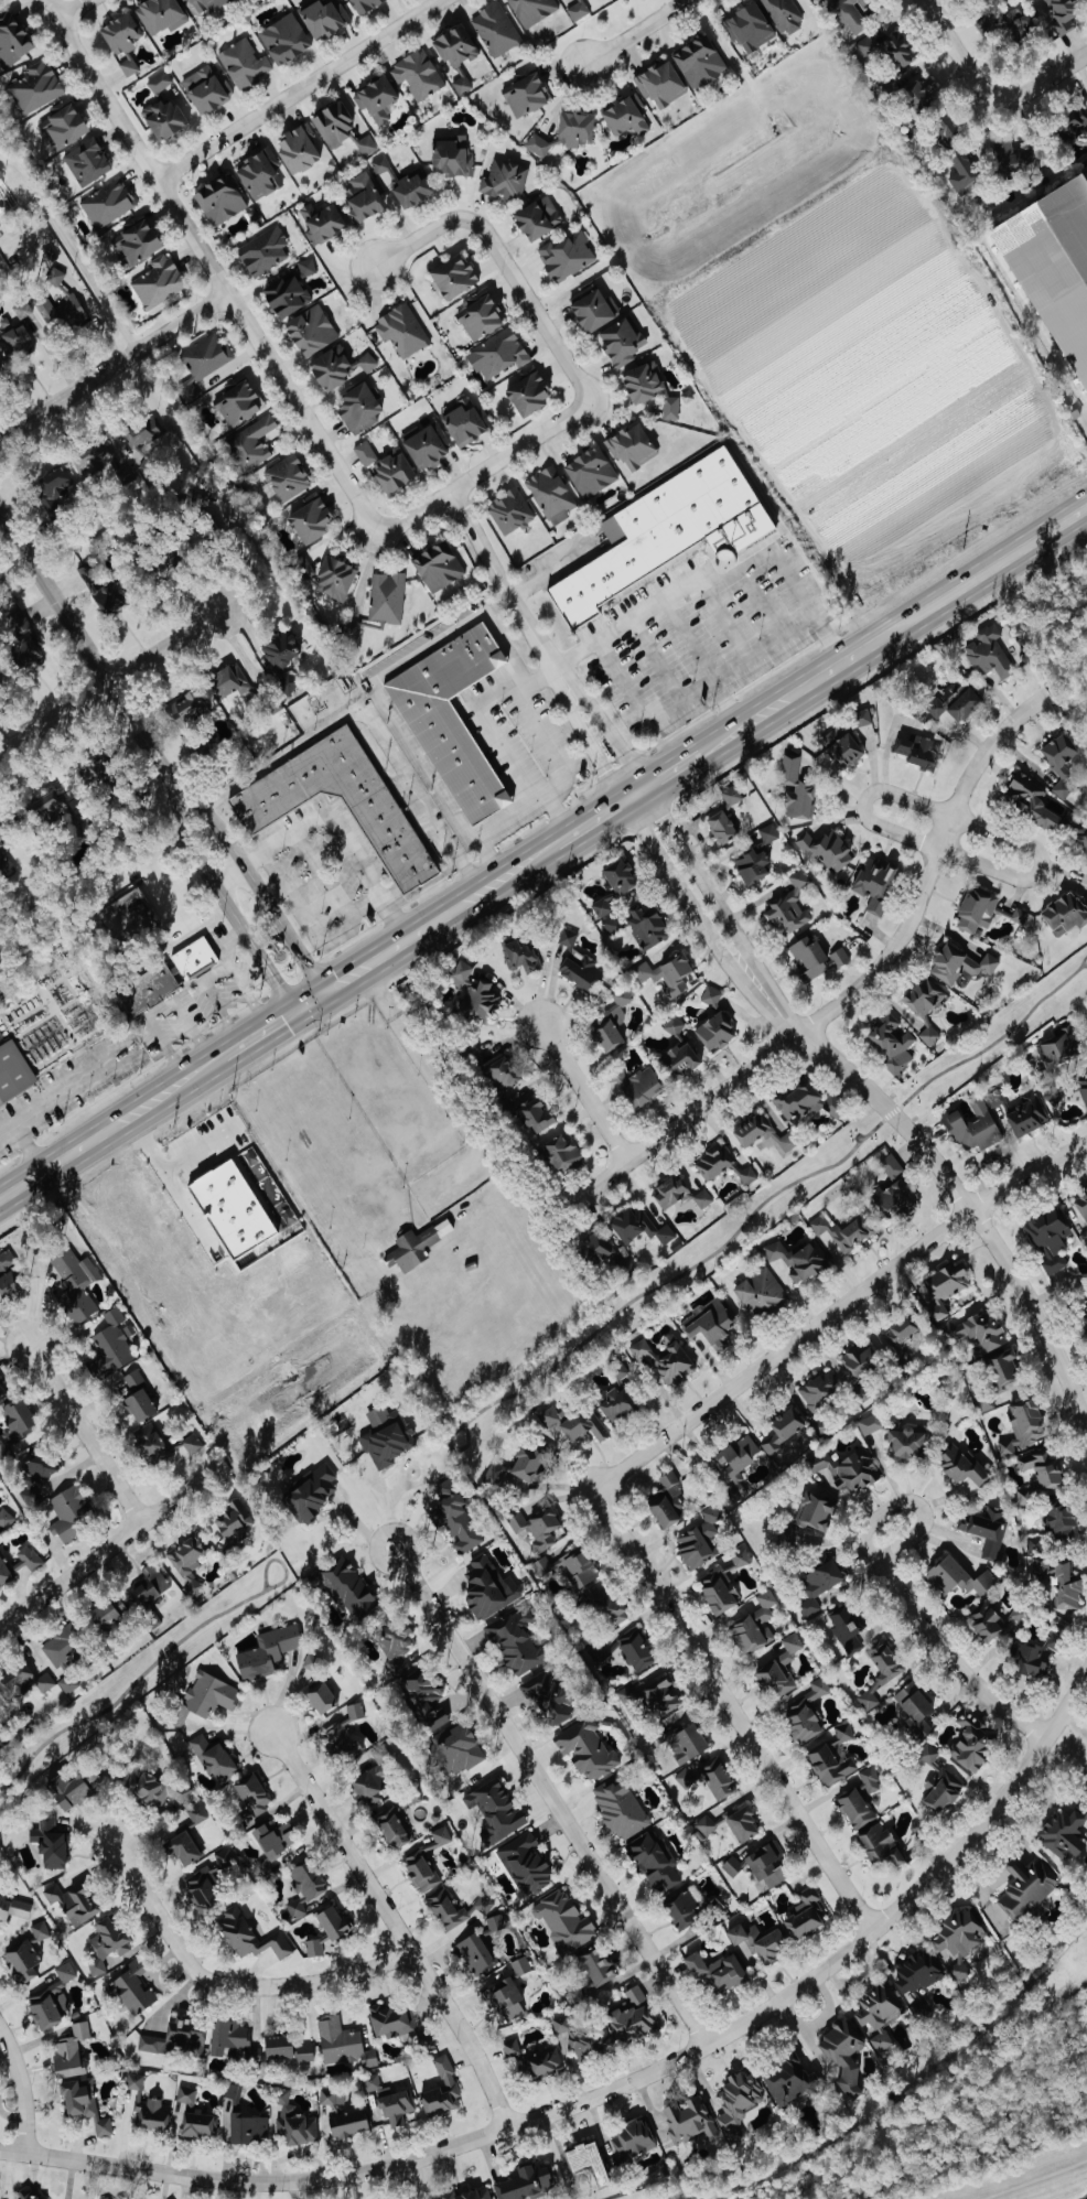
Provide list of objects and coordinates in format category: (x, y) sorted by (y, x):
building: (185, 0)
building: (568, 1)
building: (1, 3)
building: (208, 4)
building: (364, 4)
road: (54, 7)
road: (75, 7)
building: (532, 10)
building: (579, 10)
building: (159, 14)
building: (785, 14)
building: (849, 14)
building: (1062, 14)
building: (323, 17)
building: (983, 25)
building: (747, 26)
building: (496, 29)
building: (120, 32)
road: (634, 32)
building: (284, 39)
building: (12, 41)
building: (862, 47)
building: (897, 50)
road: (954, 51)
building: (455, 55)
building: (698, 61)
building: (245, 63)
building: (418, 74)
building: (160, 82)
building: (660, 84)
road: (1042, 85)
building: (36, 86)
building: (205, 88)
road: (297, 89)
building: (916, 89)
building: (526, 94)
building: (376, 98)
building: (625, 115)
building: (163, 118)
building: (1072, 122)
building: (64, 125)
building: (333, 125)
building: (944, 126)
building: (575, 128)
building: (366, 144)
building: (538, 144)
building: (298, 148)
building: (1012, 155)
building: (452, 158)
building: (86, 162)
building: (381, 164)
building: (961, 172)
building: (259, 174)
building: (505, 180)
building: (411, 190)
building: (363, 196)
building: (219, 200)
building: (108, 203)
building: (537, 217)
building: (323, 224)
road: (418, 238)
building: (133, 242)
road: (72, 248)
building: (263, 251)
building: (567, 257)
building: (306, 267)
building: (1053, 269)
road: (214, 272)
building: (453, 277)
building: (158, 282)
building: (286, 297)
road: (531, 305)
building: (62, 306)
building: (22, 309)
building: (593, 310)
building: (481, 314)
crop: (835, 323)
building: (402, 330)
building: (310, 331)
building: (17, 341)
building: (621, 342)
building: (498, 354)
building: (203, 363)
road: (112, 364)
building: (336, 367)
building: (642, 381)
building: (528, 392)
building: (238, 402)
building: (358, 408)
building: (670, 408)
building: (463, 423)
building: (144, 431)
building: (249, 444)
building: (633, 446)
building: (423, 449)
building: (94, 456)
building: (386, 466)
road: (482, 471)
building: (590, 472)
building: (126, 474)
building: (287, 478)
building: (52, 489)
building: (551, 494)
building: (510, 510)
building: (310, 519)
building: (663, 533)
building: (438, 565)
road: (551, 569)
building: (329, 575)
road: (501, 580)
building: (100, 589)
building: (386, 597)
road: (660, 602)
road: (760, 604)
road: (806, 608)
road: (724, 618)
road: (892, 633)
building: (21, 638)
building: (989, 653)
road: (93, 657)
road: (657, 658)
building: (280, 660)
road: (701, 664)
road: (109, 680)
building: (227, 681)
road: (689, 691)
road: (375, 692)
building: (955, 702)
building: (185, 709)
building: (860, 718)
building: (452, 720)
road: (509, 739)
road: (988, 746)
building: (841, 748)
road: (386, 751)
building: (916, 751)
building: (1061, 763)
building: (790, 768)
road: (670, 770)
building: (89, 772)
road: (633, 794)
building: (732, 796)
road: (863, 800)
building: (800, 801)
building: (1030, 801)
building: (47, 809)
road: (507, 815)
building: (378, 816)
road: (591, 820)
road: (665, 820)
building: (721, 827)
road: (945, 832)
road: (644, 833)
road: (213, 834)
building: (1081, 840)
road: (275, 841)
building: (826, 849)
road: (252, 858)
road: (484, 860)
road: (528, 861)
road: (1041, 867)
road: (226, 872)
building: (874, 883)
building: (613, 885)
road: (487, 886)
building: (790, 905)
building: (976, 908)
road: (357, 910)
road: (230, 912)
building: (1063, 912)
building: (128, 916)
building: (1021, 916)
building: (611, 923)
building: (645, 925)
road: (282, 928)
building: (568, 937)
road: (399, 941)
road: (225, 944)
building: (520, 953)
building: (809, 957)
building: (839, 957)
building: (193, 958)
building: (958, 963)
building: (579, 969)
building: (667, 972)
building: (146, 989)
building: (473, 991)
traffic signals: (323, 992)
road: (248, 995)
building: (711, 995)
building: (923, 995)
road: (213, 999)
traffic signals: (294, 1011)
building: (611, 1021)
building: (672, 1025)
road: (269, 1026)
building: (714, 1030)
building: (929, 1034)
building: (890, 1041)
building: (1057, 1044)
road: (769, 1055)
building: (679, 1059)
building: (13, 1071)
building: (501, 1072)
building: (636, 1084)
road: (442, 1085)
road: (64, 1088)
building: (1081, 1089)
road: (583, 1090)
building: (1053, 1093)
building: (995, 1097)
building: (807, 1100)
building: (531, 1112)
building: (1026, 1117)
building: (972, 1125)
road: (107, 1129)
building: (763, 1132)
road: (28, 1146)
building: (560, 1152)
building: (712, 1161)
road: (165, 1165)
building: (891, 1165)
building: (746, 1175)
road: (953, 1184)
building: (672, 1192)
building: (895, 1197)
building: (703, 1198)
building: (1081, 1203)
building: (638, 1226)
building: (840, 1231)
building: (1048, 1236)
building: (593, 1247)
building: (411, 1248)
building: (796, 1260)
building: (8, 1275)
building: (75, 1284)
building: (944, 1289)
building: (760, 1292)
building: (1086, 1307)
road: (836, 1308)
building: (711, 1324)
building: (898, 1330)
building: (977, 1330)
building: (115, 1340)
building: (867, 1355)
building: (664, 1360)
building: (620, 1370)
building: (1003, 1370)
building: (817, 1390)
building: (1, 1392)
building: (138, 1395)
building: (984, 1401)
building: (616, 1404)
building: (574, 1423)
building: (870, 1424)
building: (1022, 1426)
building: (782, 1429)
road: (84, 1433)
building: (387, 1436)
building: (905, 1442)
building: (151, 1443)
building: (191, 1445)
road: (409, 1462)
building: (734, 1465)
building: (961, 1466)
building: (1041, 1467)
building: (517, 1469)
building: (847, 1470)
building: (35, 1476)
building: (311, 1491)
building: (667, 1500)
road: (390, 1503)
building: (816, 1509)
building: (71, 1512)
building: (4, 1519)
building: (1061, 1519)
building: (230, 1522)
building: (455, 1523)
building: (537, 1527)
building: (986, 1529)
building: (698, 1539)
building: (814, 1540)
building: (1034, 1540)
road: (109, 1545)
building: (741, 1557)
building: (189, 1560)
road: (279, 1560)
building: (19, 1562)
building: (542, 1565)
building: (579, 1567)
building: (955, 1577)
building: (816, 1585)
road: (895, 1586)
building: (1067, 1586)
building: (149, 1588)
building: (347, 1588)
building: (487, 1588)
building: (719, 1592)
building: (606, 1606)
building: (105, 1614)
building: (1018, 1614)
building: (152, 1620)
building: (986, 1623)
building: (754, 1625)
building: (846, 1628)
building: (515, 1642)
building: (62, 1646)
building: (395, 1647)
building: (635, 1651)
building: (267, 1652)
building: (1033, 1656)
building: (779, 1669)
building: (890, 1673)
building: (22, 1681)
road: (131, 1685)
building: (320, 1696)
building: (547, 1696)
building: (653, 1696)
building: (203, 1697)
building: (424, 1700)
building: (912, 1701)
road: (733, 1708)
building: (355, 1710)
building: (805, 1713)
building: (676, 1721)
road: (1072, 1724)
building: (921, 1728)
building: (341, 1740)
building: (687, 1743)
building: (969, 1744)
building: (586, 1749)
building: (456, 1750)
building: (928, 1754)
building: (212, 1757)
building: (832, 1757)
building: (685, 1778)
building: (94, 1779)
building: (869, 1779)
building: (719, 1782)
building: (153, 1788)
building: (941, 1790)
building: (66, 1791)
building: (370, 1792)
building: (252, 1793)
road: (550, 1794)
building: (854, 1808)
building: (620, 1809)
building: (494, 1811)
building: (197, 1814)
building: (742, 1824)
building: (706, 1825)
building: (396, 1829)
building: (1064, 1831)
building: (275, 1837)
building: (50, 1841)
building: (881, 1845)
building: (183, 1848)
building: (653, 1861)
building: (426, 1862)
building: (525, 1862)
building: (754, 1863)
building: (776, 1875)
building: (304, 1886)
building: (1026, 1886)
building: (203, 1888)
building: (72, 1902)
building: (482, 1905)
building: (14, 1908)
building: (445, 1908)
building: (682, 1909)
building: (805, 1914)
building: (563, 1921)
building: (334, 1922)
building: (496, 1922)
road: (394, 1925)
building: (249, 1936)
building: (958, 1939)
building: (756, 1940)
building: (107, 1943)
building: (315, 1947)
building: (28, 1953)
building: (474, 1954)
building: (520, 1965)
building: (595, 1966)
building: (715, 1970)
building: (65, 1971)
building: (915, 1972)
road: (229, 1983)
building: (134, 1988)
building: (574, 1991)
building: (504, 1998)
building: (876, 2005)
building: (47, 2006)
building: (632, 2017)
building: (390, 2020)
building: (227, 2036)
building: (581, 2037)
building: (175, 2040)
building: (880, 2040)
building: (343, 2044)
building: (286, 2048)
building: (69, 2052)
building: (842, 2056)
building: (534, 2057)
building: (788, 2079)
building: (134, 2081)
road: (617, 2084)
road: (22, 2089)
building: (441, 2090)
building: (186, 2094)
building: (736, 2101)
building: (84, 2103)
building: (151, 2113)
building: (342, 2115)
building: (689, 2120)
building: (294, 2121)
building: (197, 2125)
building: (247, 2128)
building: (585, 2160)
road: (1034, 2178)
building: (524, 2181)
building: (26, 2195)
building: (466, 2195)

